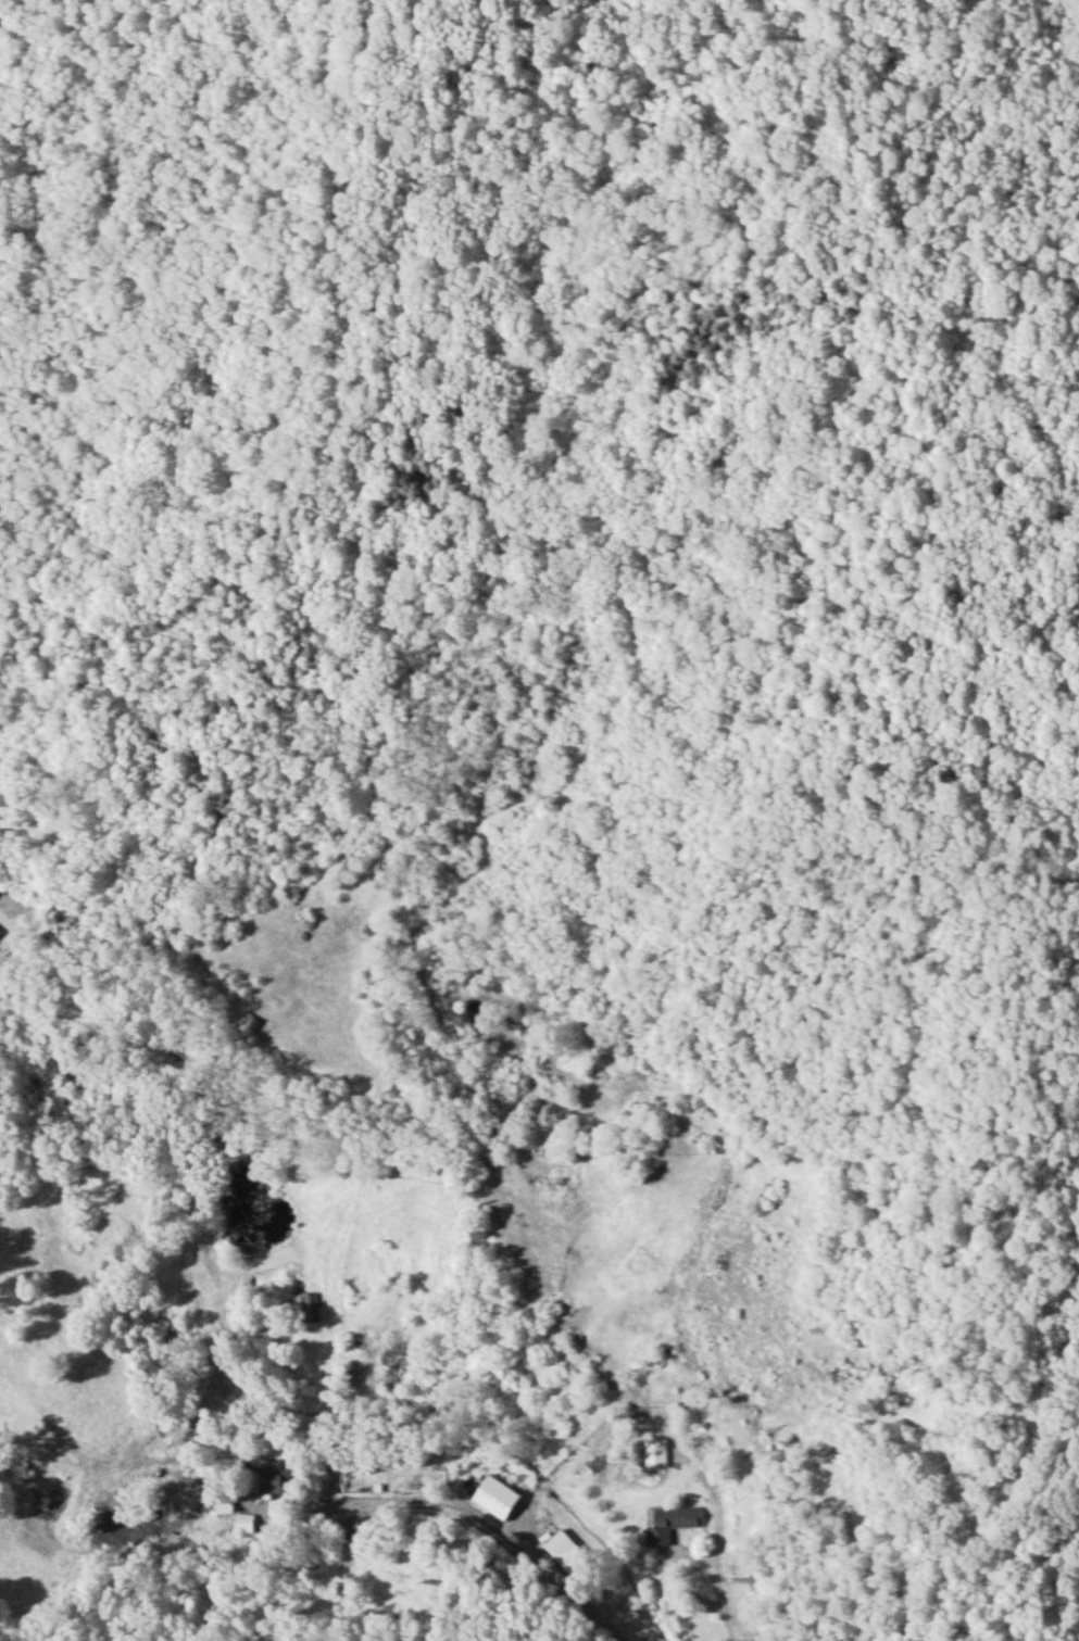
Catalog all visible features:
road: (1031, 1076)
building: (309, 1305)
building: (655, 1453)
building: (268, 1478)
building: (495, 1497)
building: (672, 1523)
road: (498, 1532)
road: (672, 1552)
building: (566, 1553)
road: (730, 1628)

